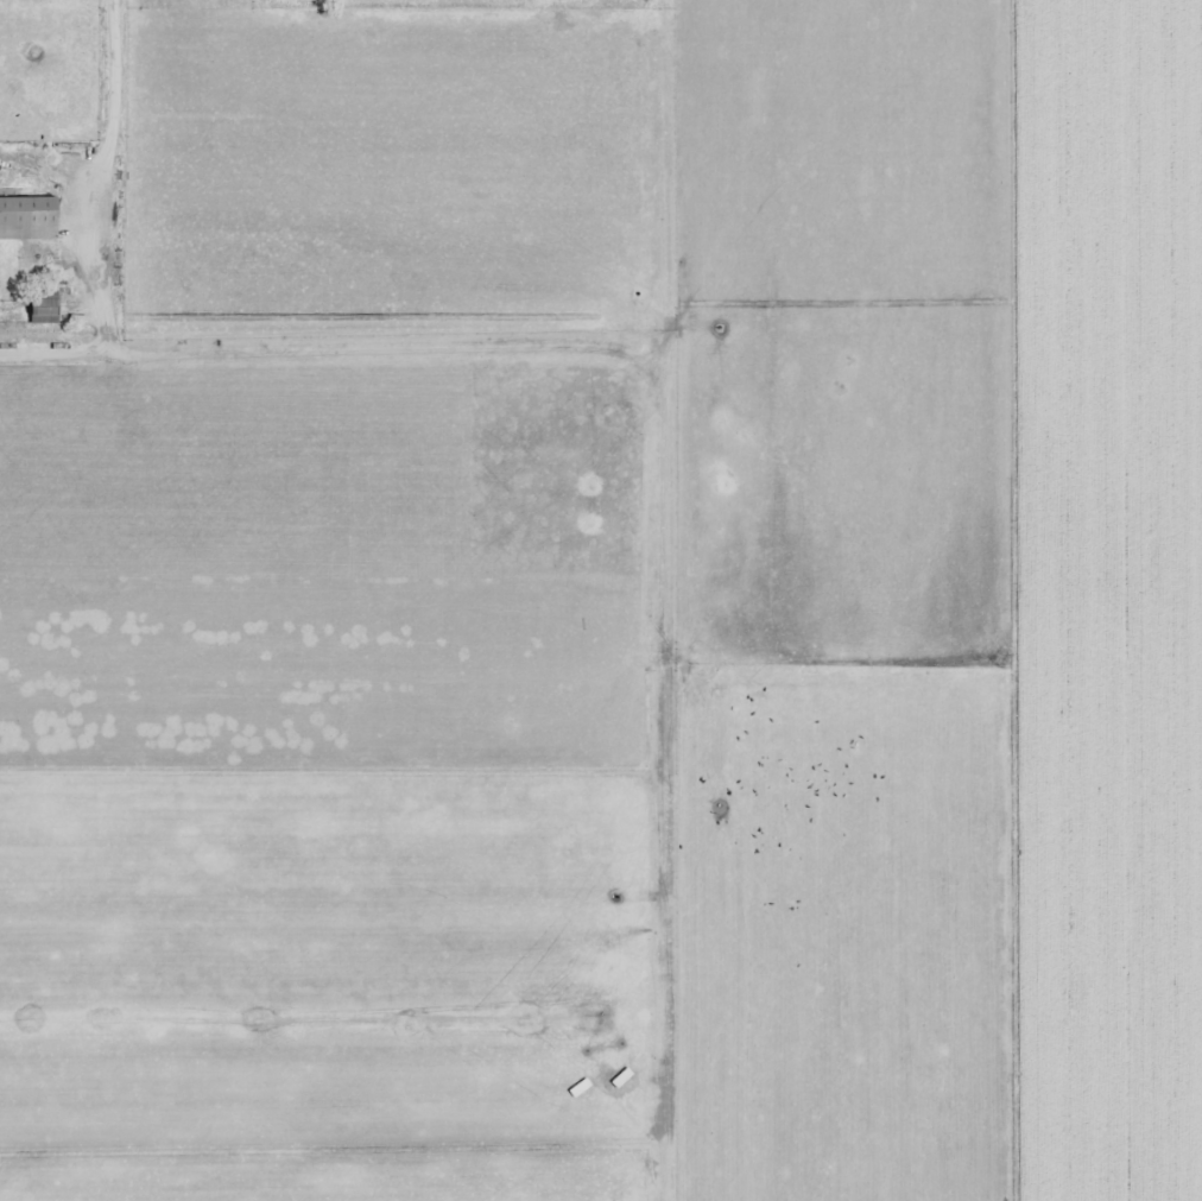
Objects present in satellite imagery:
road: (118, 67)
building: (27, 216)
building: (49, 305)

